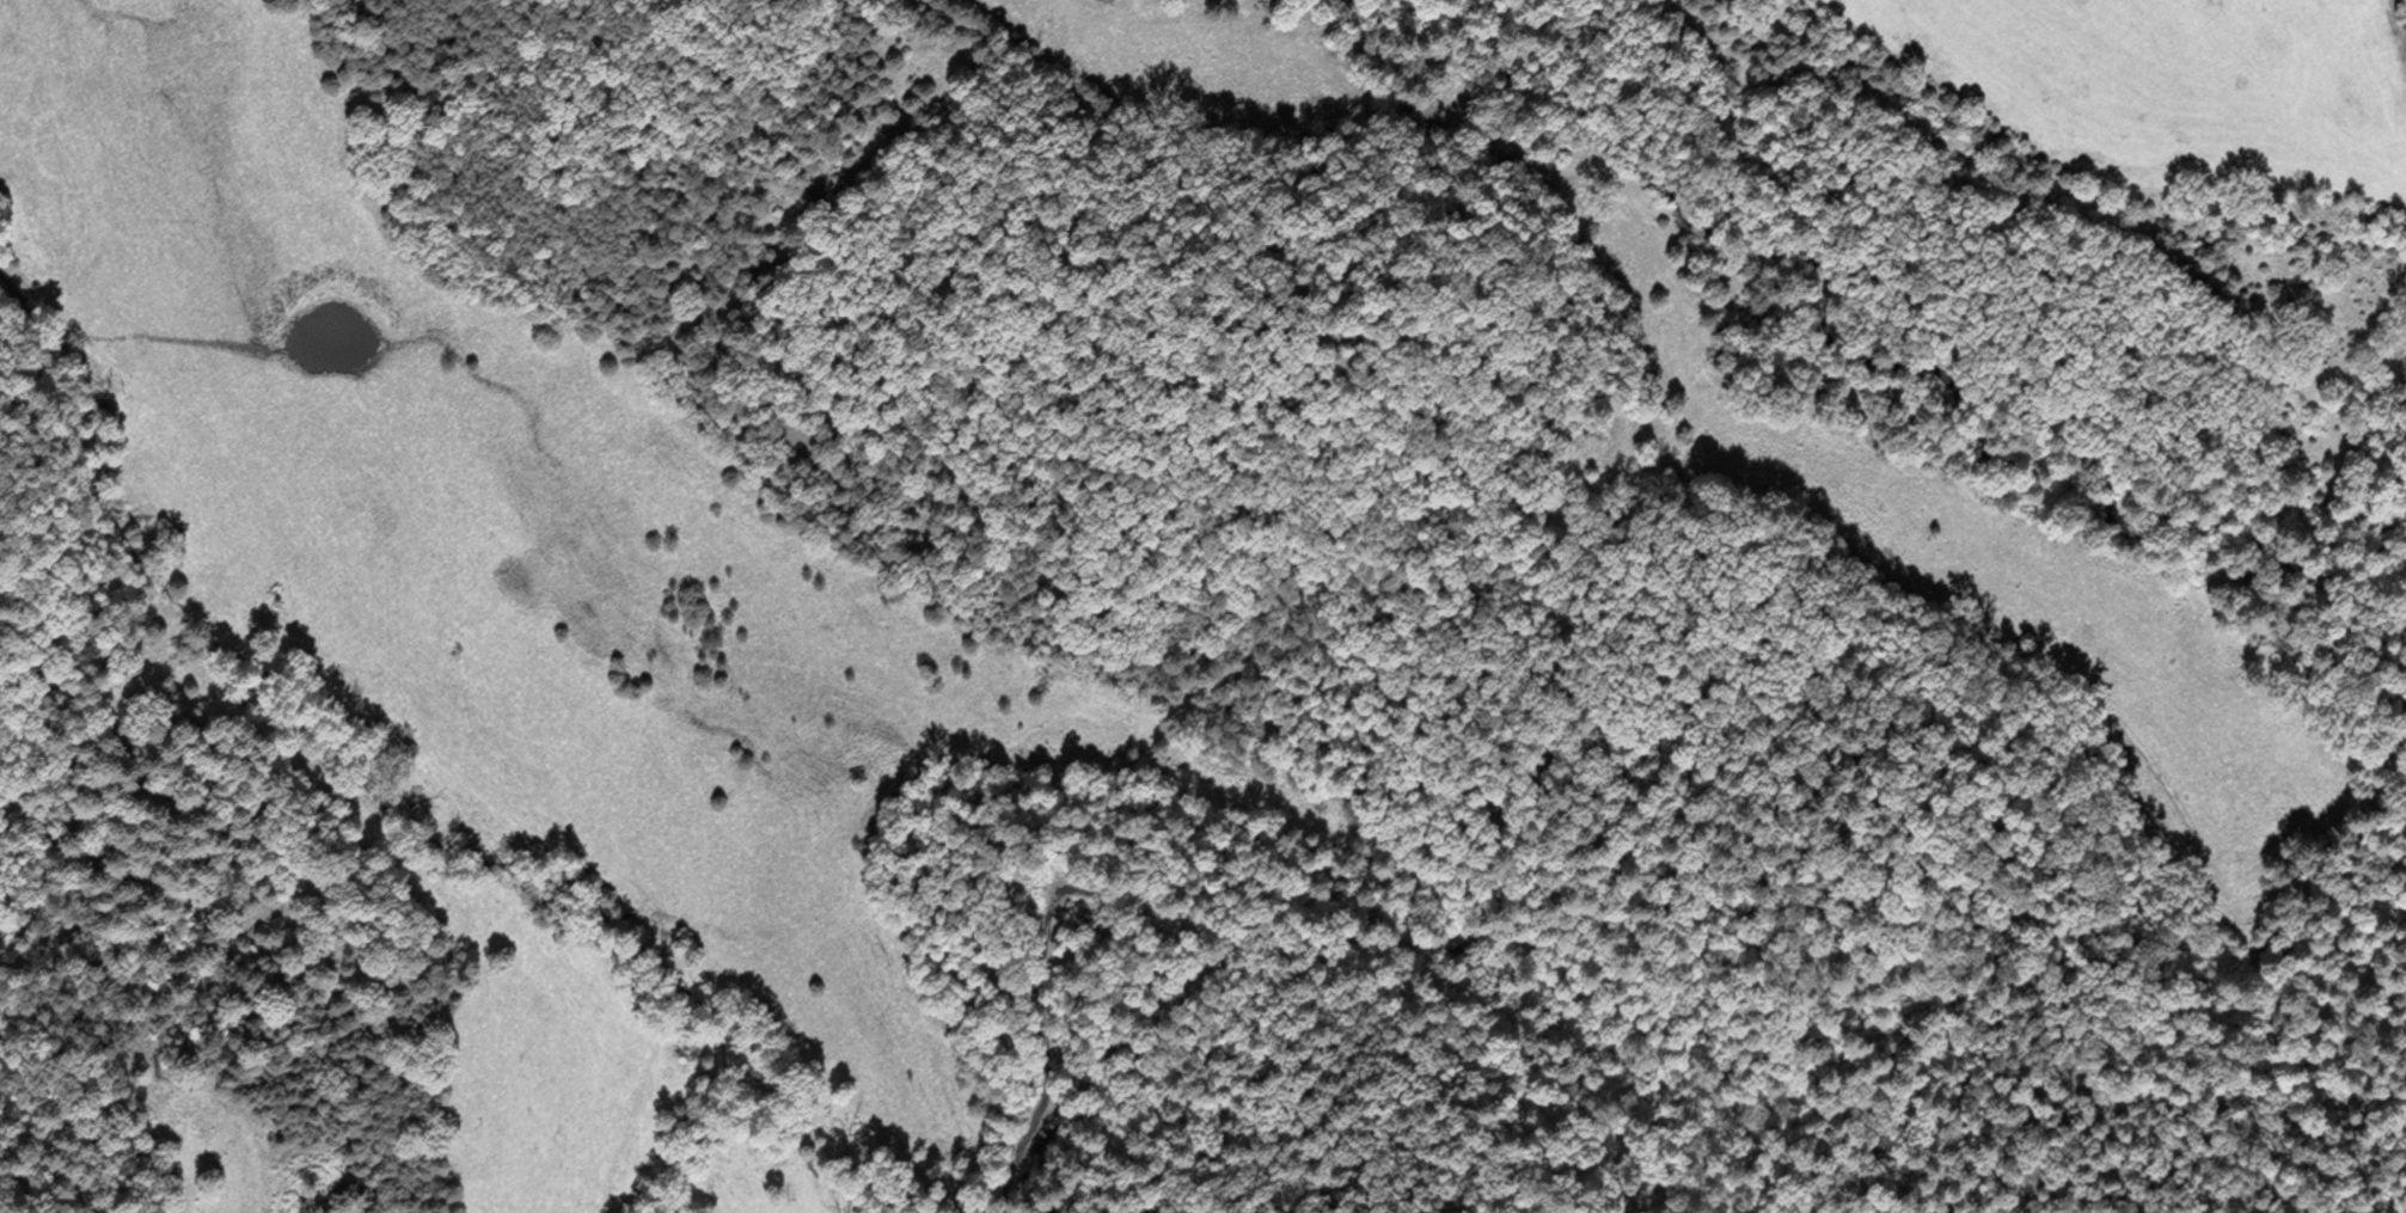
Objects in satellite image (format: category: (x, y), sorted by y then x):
road: (1072, 884)

